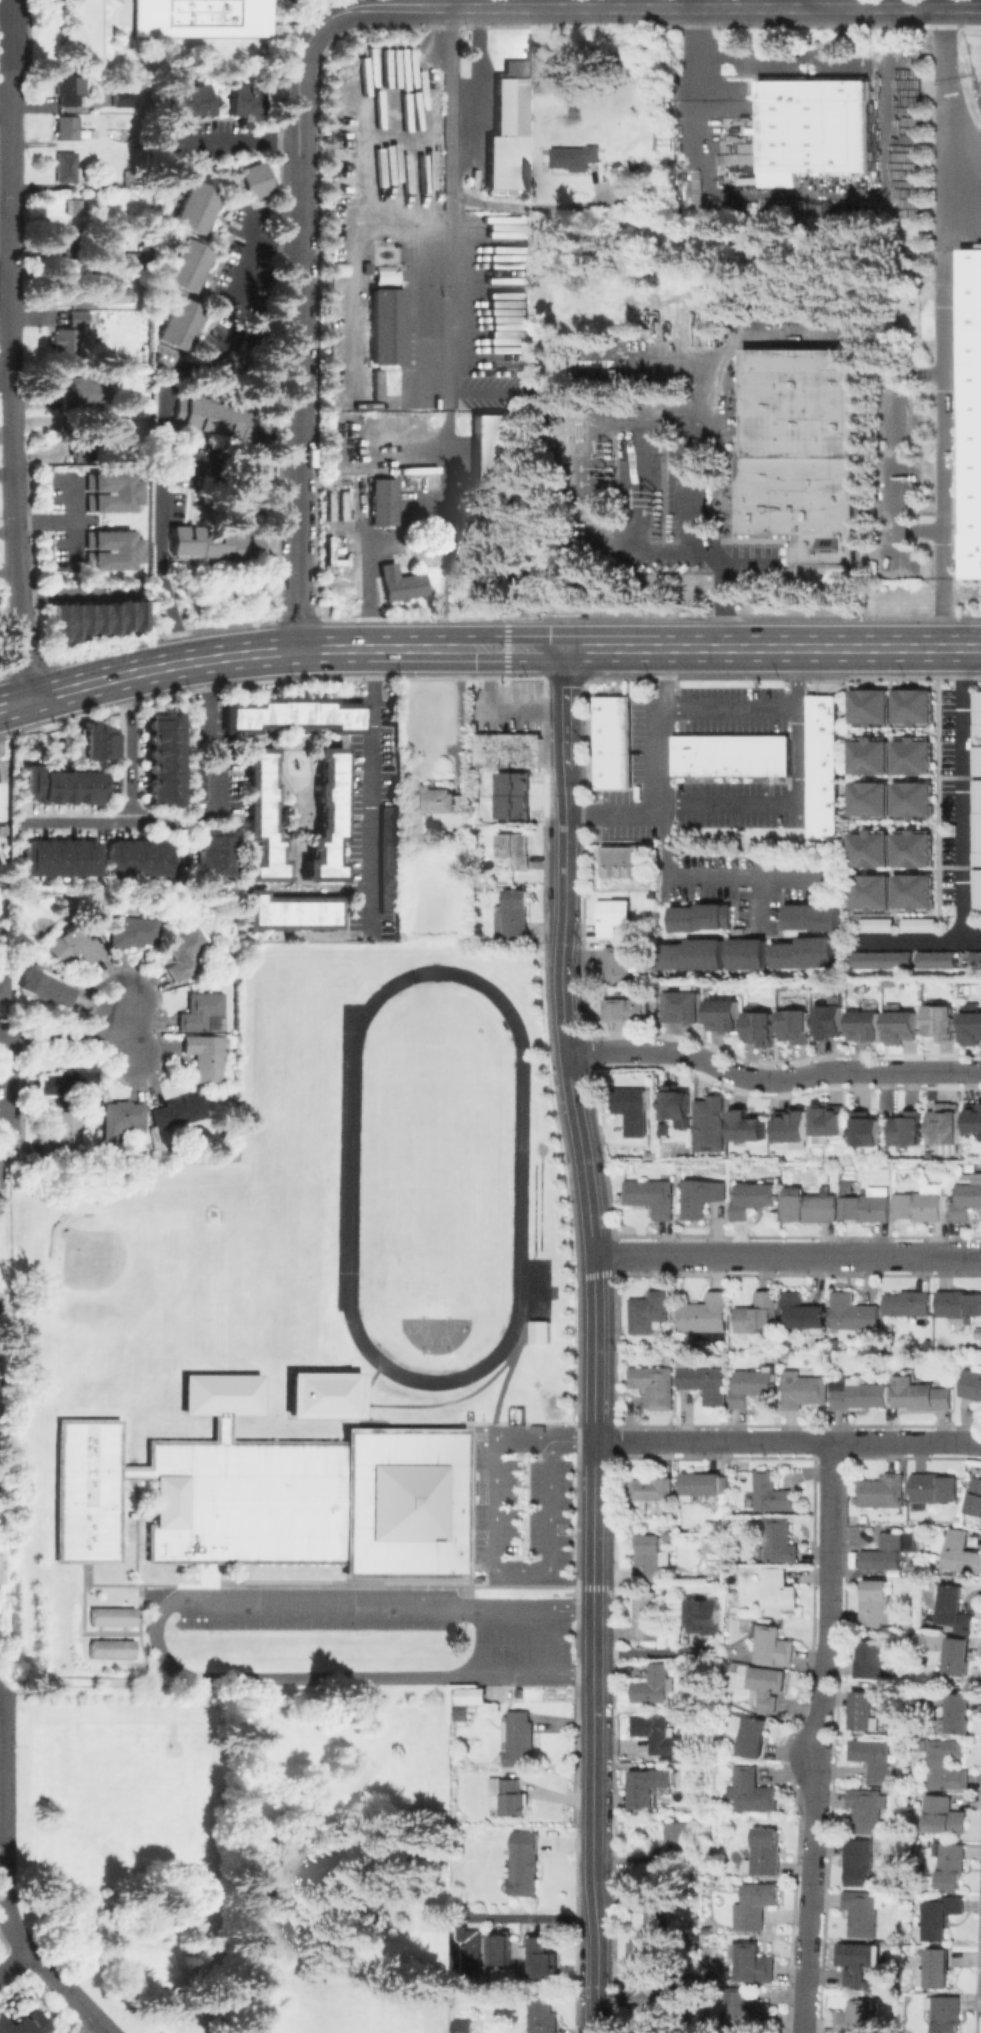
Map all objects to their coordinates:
road: (804, 3)
road: (524, 4)
road: (675, 8)
road: (312, 12)
building: (200, 17)
road: (8, 51)
road: (770, 56)
road: (300, 59)
road: (477, 84)
railway: (978, 85)
building: (71, 87)
building: (121, 96)
road: (4, 102)
building: (245, 102)
building: (186, 106)
road: (450, 109)
building: (67, 127)
building: (823, 127)
building: (506, 129)
road: (947, 129)
road: (232, 139)
road: (962, 148)
building: (571, 159)
building: (67, 167)
building: (250, 181)
road: (527, 205)
building: (77, 206)
building: (196, 206)
building: (59, 219)
road: (8, 235)
building: (63, 245)
building: (980, 245)
building: (186, 264)
building: (385, 276)
building: (62, 283)
road: (4, 284)
building: (119, 296)
building: (80, 318)
building: (179, 324)
building: (386, 326)
building: (69, 347)
building: (525, 369)
building: (374, 384)
building: (84, 394)
road: (296, 402)
building: (806, 402)
road: (9, 411)
road: (161, 412)
building: (972, 412)
road: (947, 415)
road: (709, 418)
building: (221, 419)
building: (116, 425)
road: (450, 429)
building: (79, 451)
road: (903, 452)
building: (506, 453)
road: (203, 459)
building: (111, 491)
building: (382, 501)
building: (802, 503)
road: (700, 540)
building: (215, 543)
building: (111, 550)
building: (488, 574)
road: (15, 577)
building: (398, 583)
road: (370, 585)
road: (946, 614)
building: (94, 618)
road: (487, 648)
building: (869, 706)
road: (731, 707)
building: (915, 707)
building: (294, 714)
building: (978, 715)
road: (206, 731)
building: (95, 742)
building: (611, 742)
building: (509, 750)
building: (730, 755)
building: (872, 756)
building: (915, 756)
building: (160, 758)
building: (978, 761)
building: (821, 766)
building: (197, 782)
building: (59, 785)
road: (371, 791)
road: (961, 793)
road: (124, 795)
building: (431, 799)
building: (915, 801)
building: (872, 802)
road: (731, 808)
road: (613, 809)
building: (328, 817)
building: (262, 819)
road: (164, 823)
building: (978, 824)
building: (872, 849)
building: (915, 849)
building: (515, 850)
building: (211, 851)
building: (58, 857)
building: (134, 857)
building: (387, 858)
building: (621, 861)
road: (711, 878)
building: (978, 890)
building: (873, 893)
building: (916, 895)
road: (762, 901)
building: (514, 912)
building: (291, 914)
building: (616, 916)
building: (704, 918)
building: (815, 918)
building: (879, 925)
building: (920, 925)
building: (135, 933)
road: (920, 938)
building: (74, 944)
building: (185, 952)
building: (808, 952)
building: (696, 953)
building: (751, 953)
building: (884, 959)
building: (938, 959)
building: (977, 960)
building: (621, 962)
building: (47, 983)
building: (3, 988)
building: (632, 1008)
building: (684, 1008)
building: (200, 1010)
building: (726, 1016)
building: (832, 1022)
building: (943, 1022)
building: (868, 1026)
building: (798, 1027)
building: (904, 1027)
building: (762, 1029)
building: (974, 1029)
road: (77, 1038)
road: (125, 1049)
building: (205, 1055)
building: (67, 1081)
road: (771, 1082)
building: (678, 1102)
building: (633, 1108)
building: (178, 1110)
road: (7, 1115)
building: (121, 1117)
building: (975, 1117)
building: (828, 1118)
building: (750, 1123)
building: (944, 1123)
building: (712, 1124)
building: (794, 1126)
building: (867, 1128)
building: (909, 1128)
building: (63, 1134)
building: (654, 1154)
track: (347, 1158)
park: (433, 1173)
building: (848, 1184)
building: (653, 1195)
building: (703, 1196)
building: (755, 1197)
building: (967, 1198)
building: (810, 1205)
building: (867, 1205)
building: (920, 1206)
road: (787, 1254)
park: (122, 1281)
building: (909, 1304)
building: (959, 1304)
building: (649, 1311)
building: (804, 1312)
building: (705, 1313)
building: (854, 1313)
building: (758, 1314)
building: (541, 1330)
park: (433, 1332)
building: (979, 1332)
road: (594, 1339)
building: (684, 1362)
building: (706, 1382)
building: (972, 1382)
building: (655, 1385)
building: (753, 1385)
building: (804, 1389)
building: (326, 1394)
building: (922, 1394)
building: (220, 1395)
building: (862, 1396)
road: (572, 1439)
road: (788, 1440)
building: (704, 1484)
building: (933, 1488)
building: (654, 1489)
building: (773, 1492)
building: (883, 1492)
building: (975, 1497)
building: (201, 1499)
building: (405, 1502)
building: (668, 1507)
parking lot: (521, 1517)
building: (670, 1536)
building: (779, 1540)
building: (914, 1540)
building: (886, 1552)
building: (961, 1552)
building: (651, 1557)
road: (498, 1564)
building: (0, 1569)
building: (780, 1589)
building: (877, 1603)
building: (953, 1607)
building: (704, 1614)
building: (647, 1615)
building: (114, 1617)
road: (156, 1634)
parking lot: (504, 1642)
road: (556, 1643)
building: (774, 1645)
building: (114, 1648)
building: (957, 1655)
building: (875, 1660)
building: (654, 1684)
building: (768, 1685)
building: (470, 1695)
road: (0, 1700)
building: (865, 1710)
building: (959, 1712)
building: (463, 1714)
building: (659, 1733)
building: (518, 1736)
building: (754, 1736)
road: (819, 1737)
building: (875, 1757)
building: (947, 1764)
building: (653, 1785)
building: (752, 1790)
building: (508, 1796)
road: (2, 1797)
building: (868, 1806)
building: (944, 1814)
building: (886, 1845)
building: (673, 1847)
building: (765, 1851)
park: (244, 1853)
building: (860, 1861)
building: (525, 1862)
building: (952, 1865)
building: (654, 1904)
building: (756, 1905)
building: (863, 1911)
road: (536, 1916)
building: (940, 1916)
road: (9, 1924)
building: (469, 1948)
building: (547, 1956)
building: (645, 1957)
road: (14, 1959)
building: (857, 1960)
building: (755, 1963)
building: (937, 1969)
building: (690, 1990)
road: (68, 1991)
building: (654, 2001)
building: (747, 2010)
building: (947, 2013)
building: (541, 2015)
building: (859, 2017)
building: (23, 2023)
building: (464, 2025)

